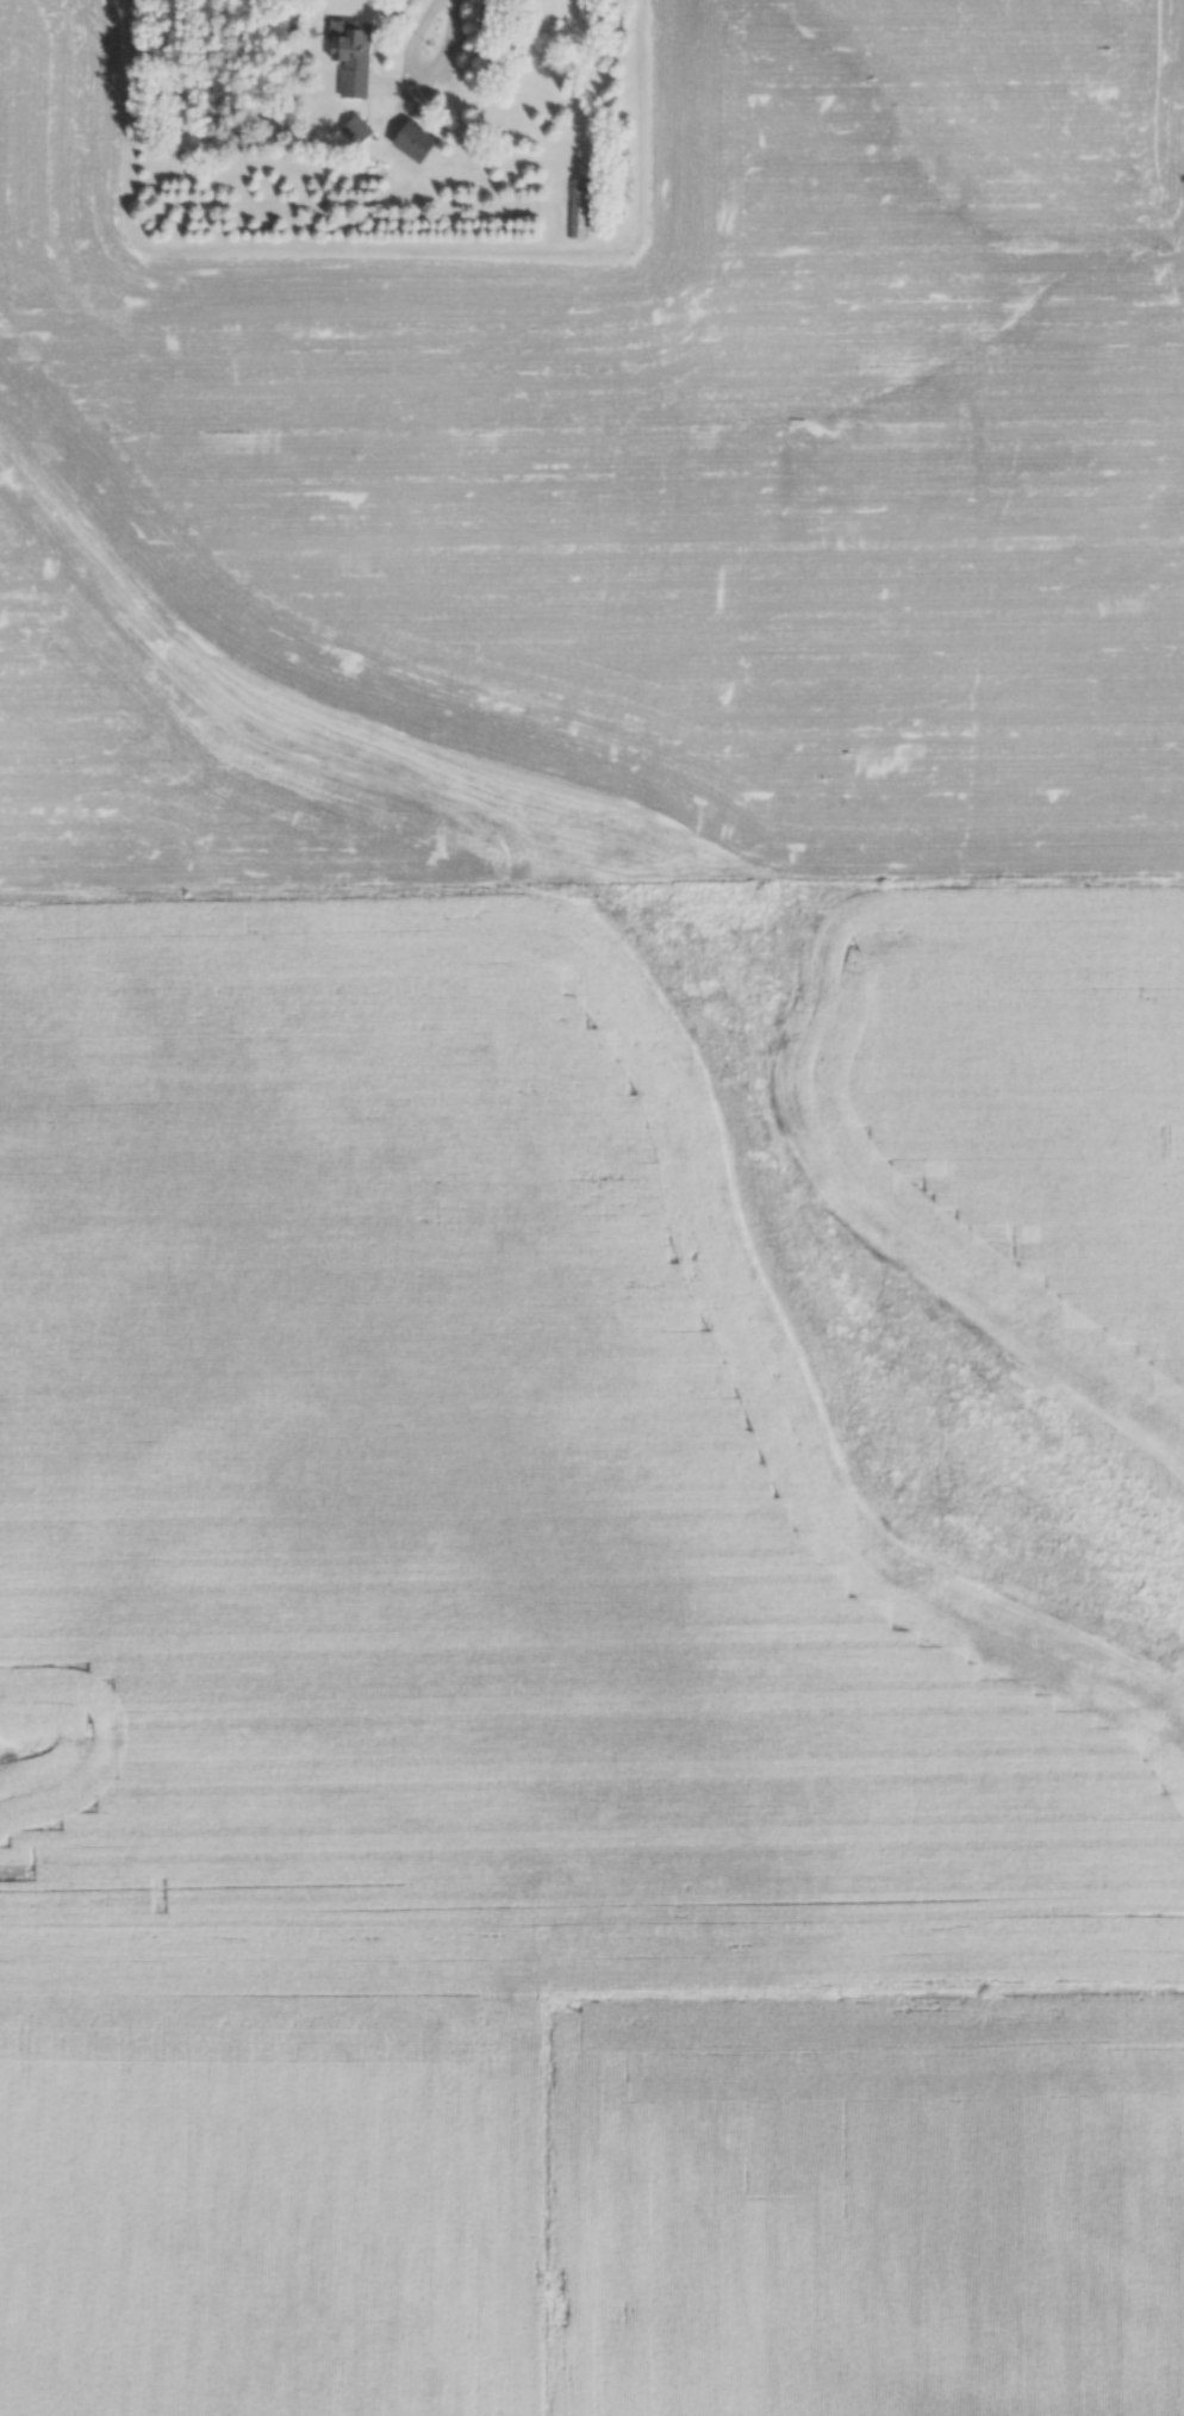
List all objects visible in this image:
building: (350, 55)
road: (428, 68)
building: (416, 141)
building: (575, 208)

